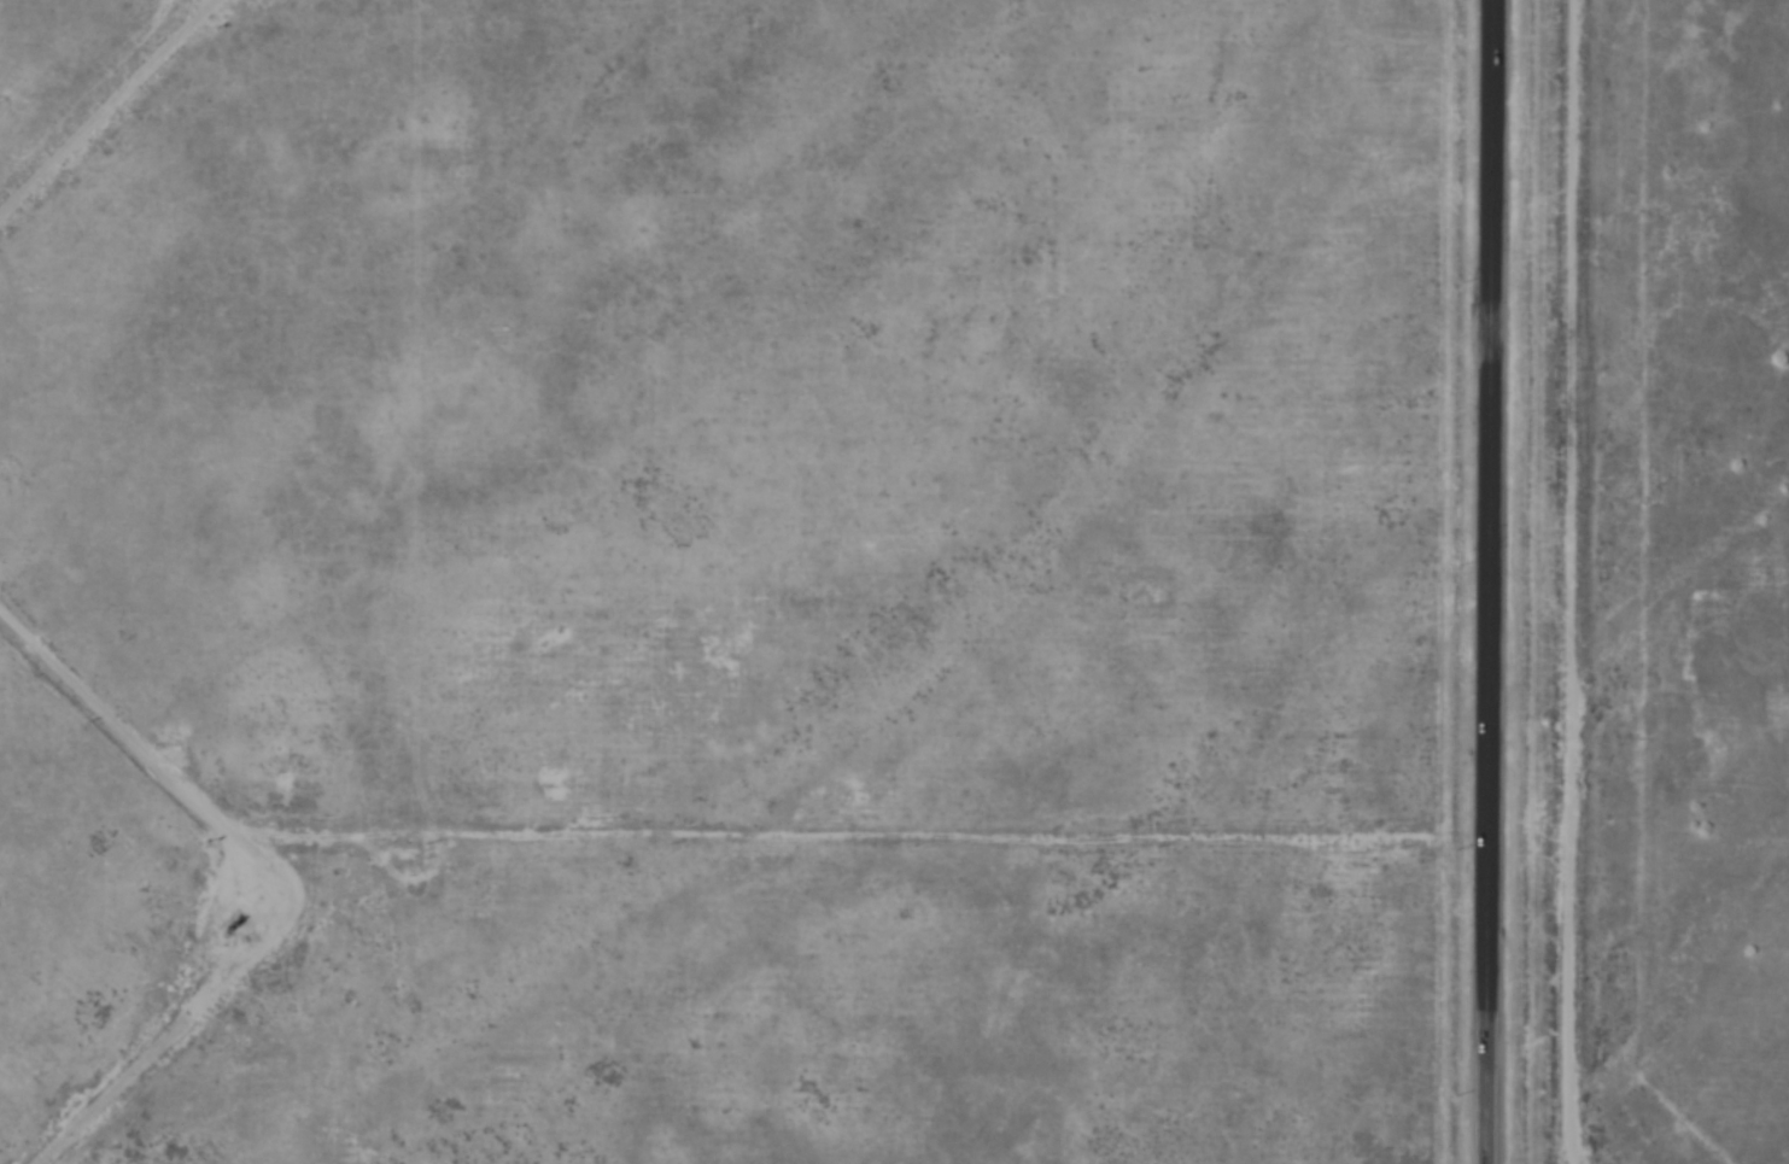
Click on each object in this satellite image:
road: (111, 105)
road: (1490, 581)
road: (263, 878)

